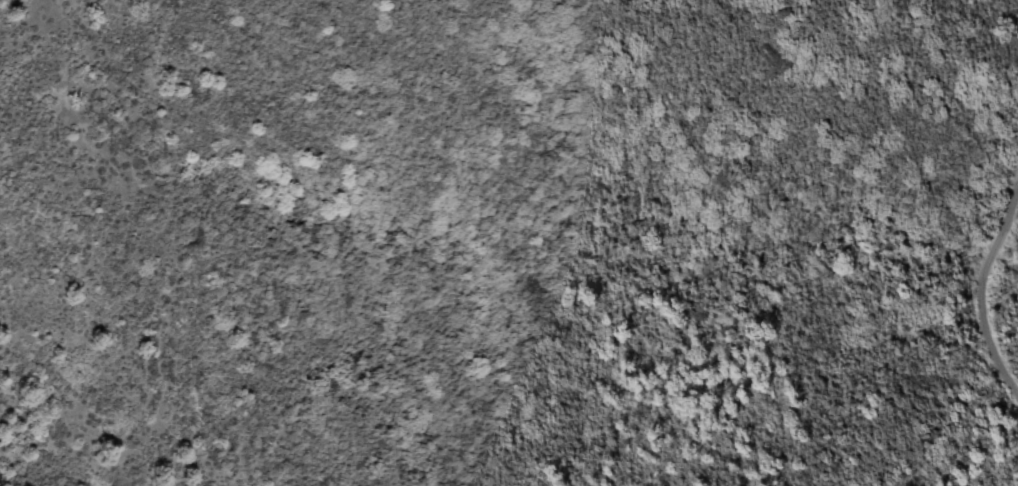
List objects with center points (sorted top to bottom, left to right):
road: (971, 232)

